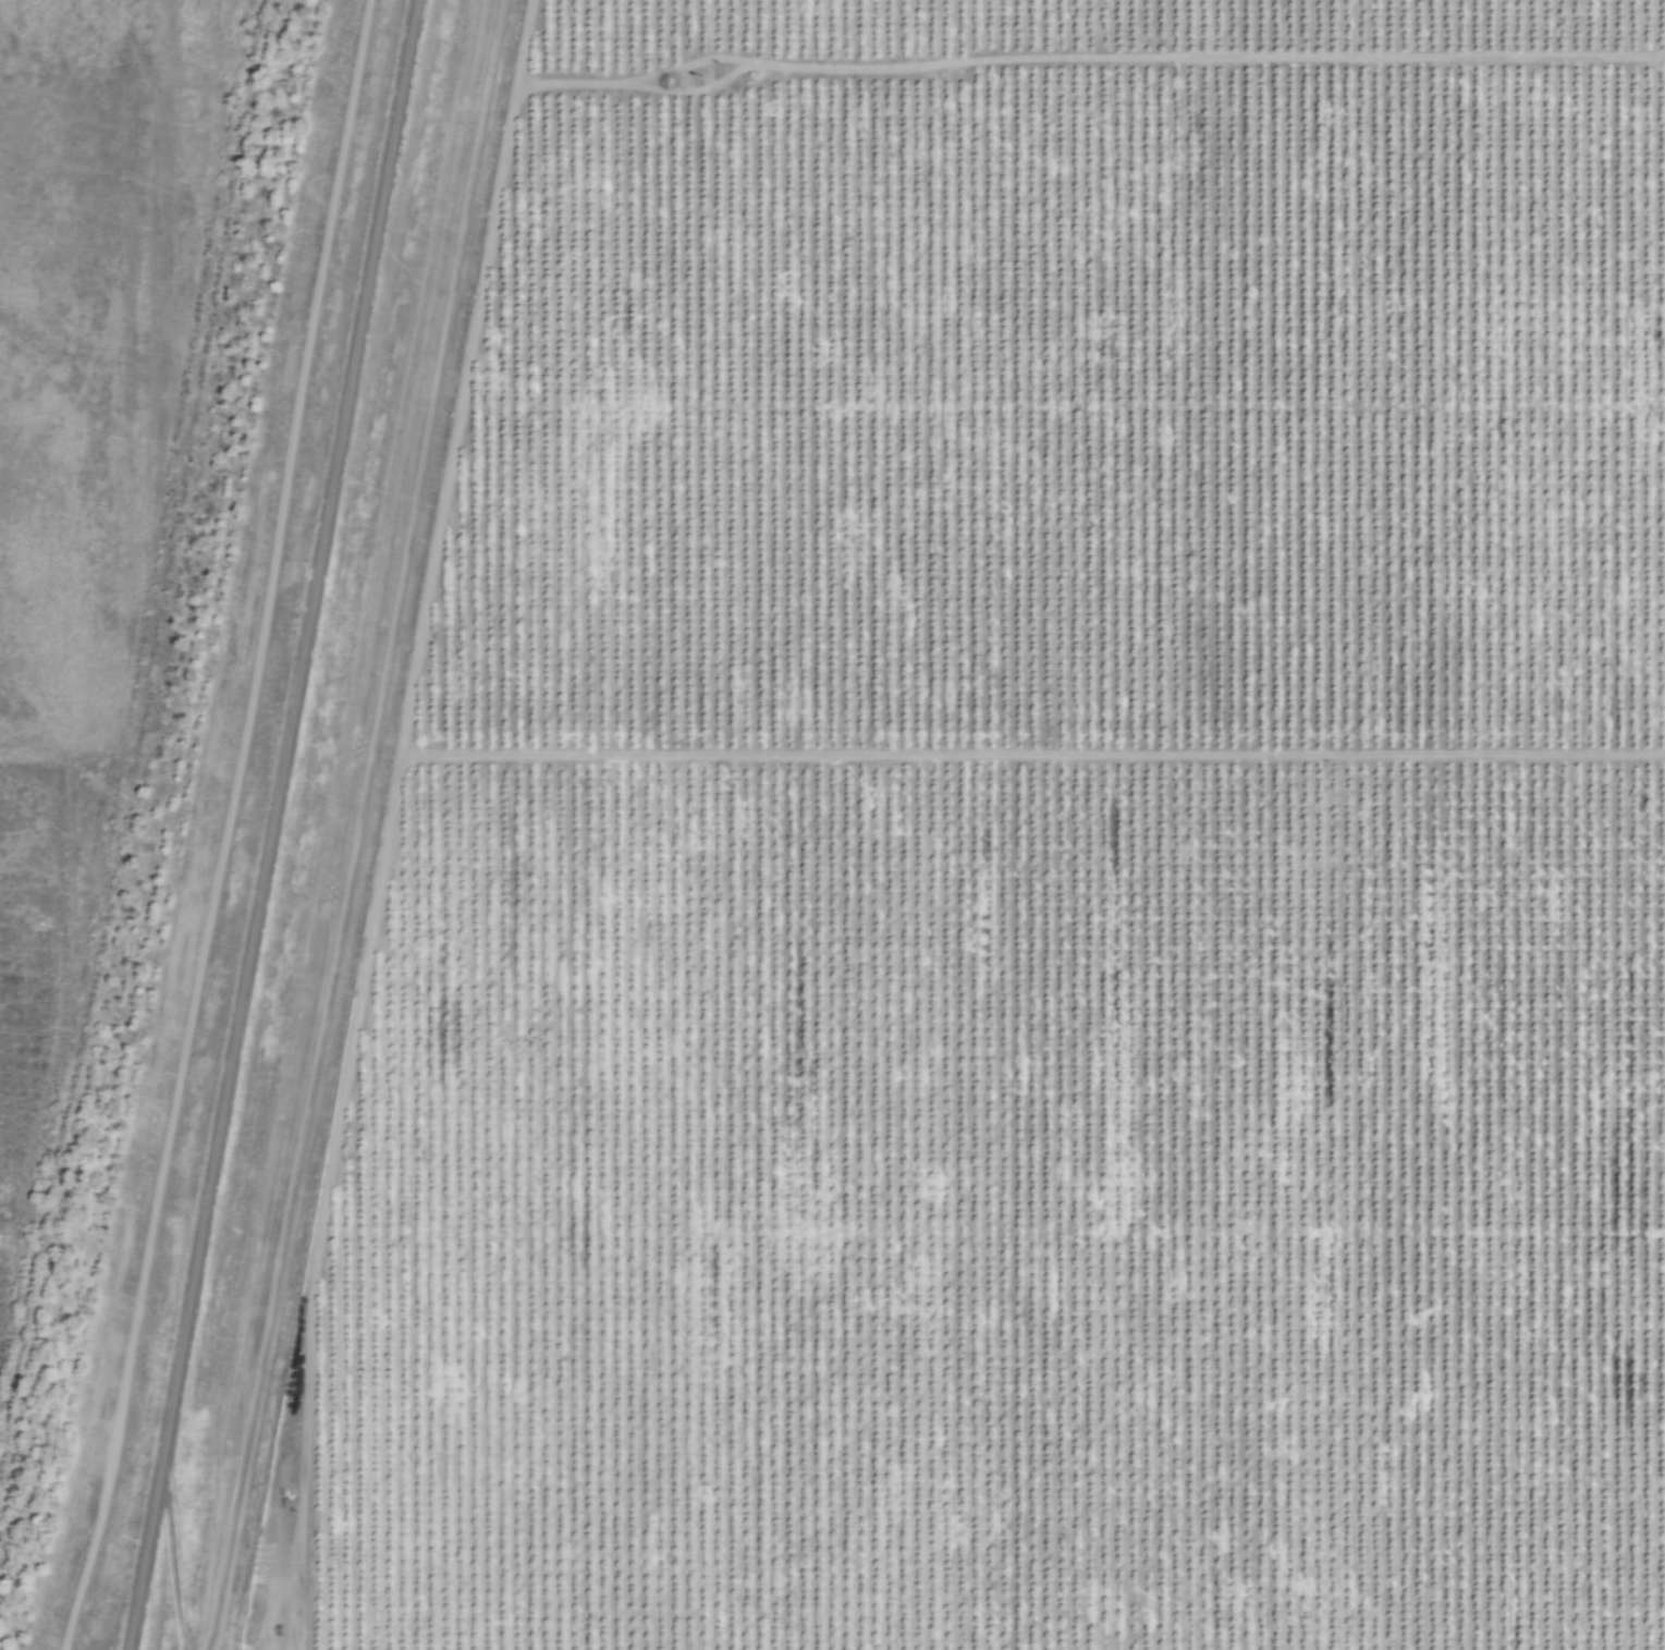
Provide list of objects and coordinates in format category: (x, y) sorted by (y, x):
road: (1046, 753)

